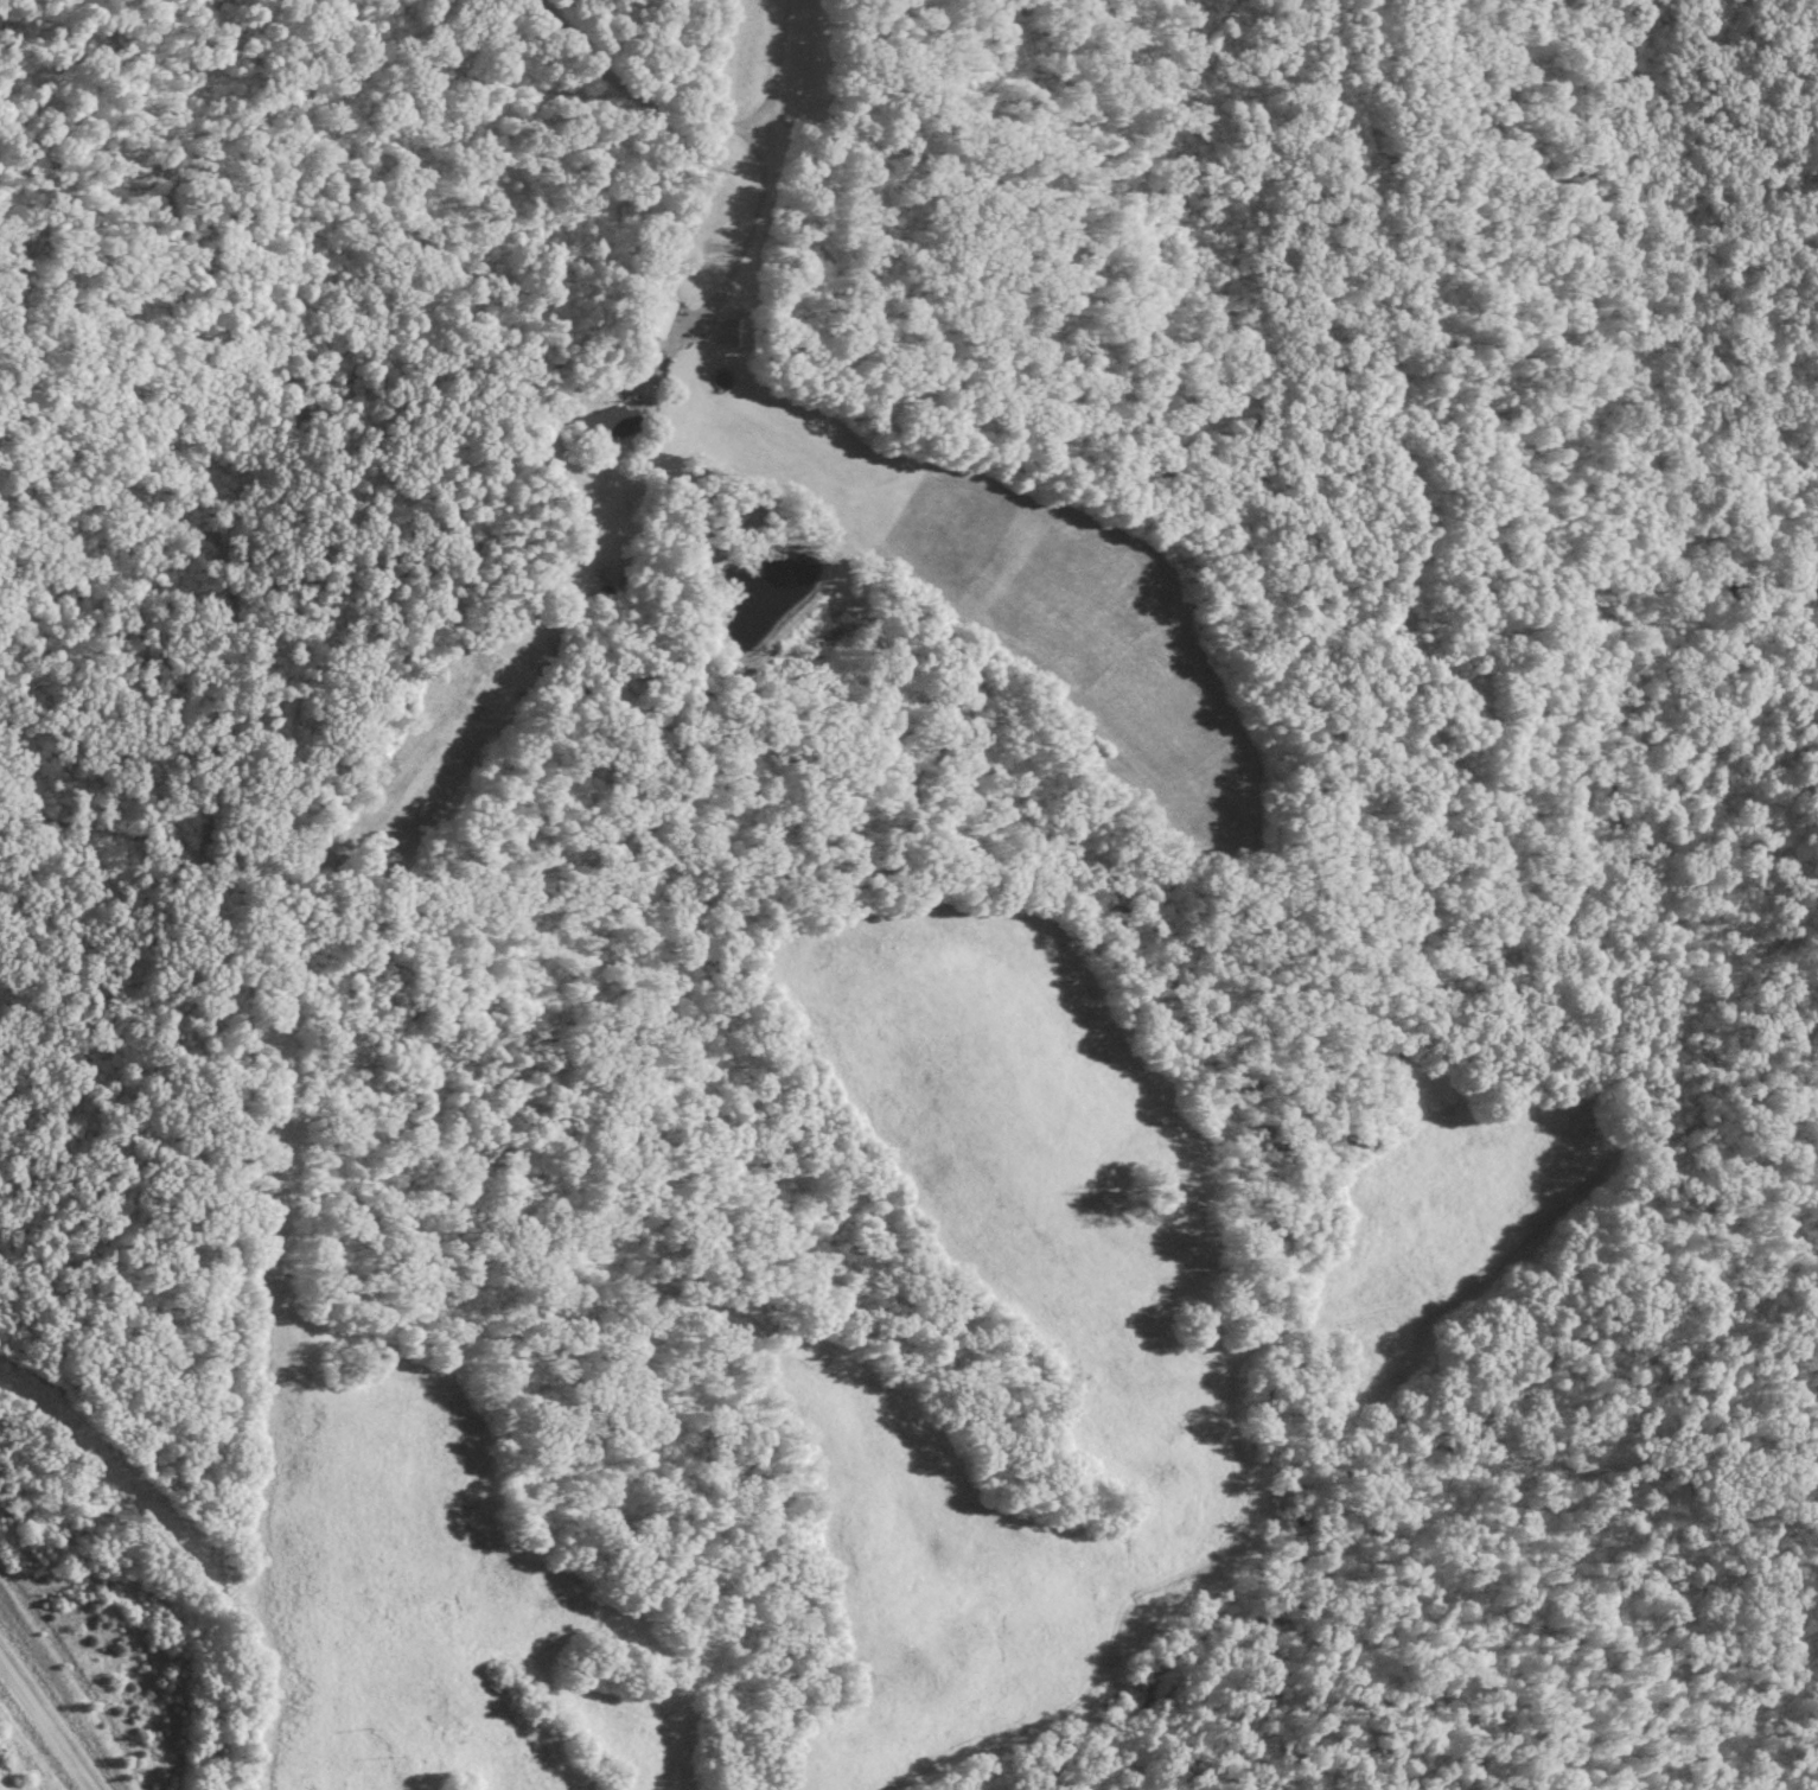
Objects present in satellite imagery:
road: (680, 120)
road: (740, 211)
building: (655, 316)
building: (744, 332)
building: (606, 423)
road: (45, 1724)

